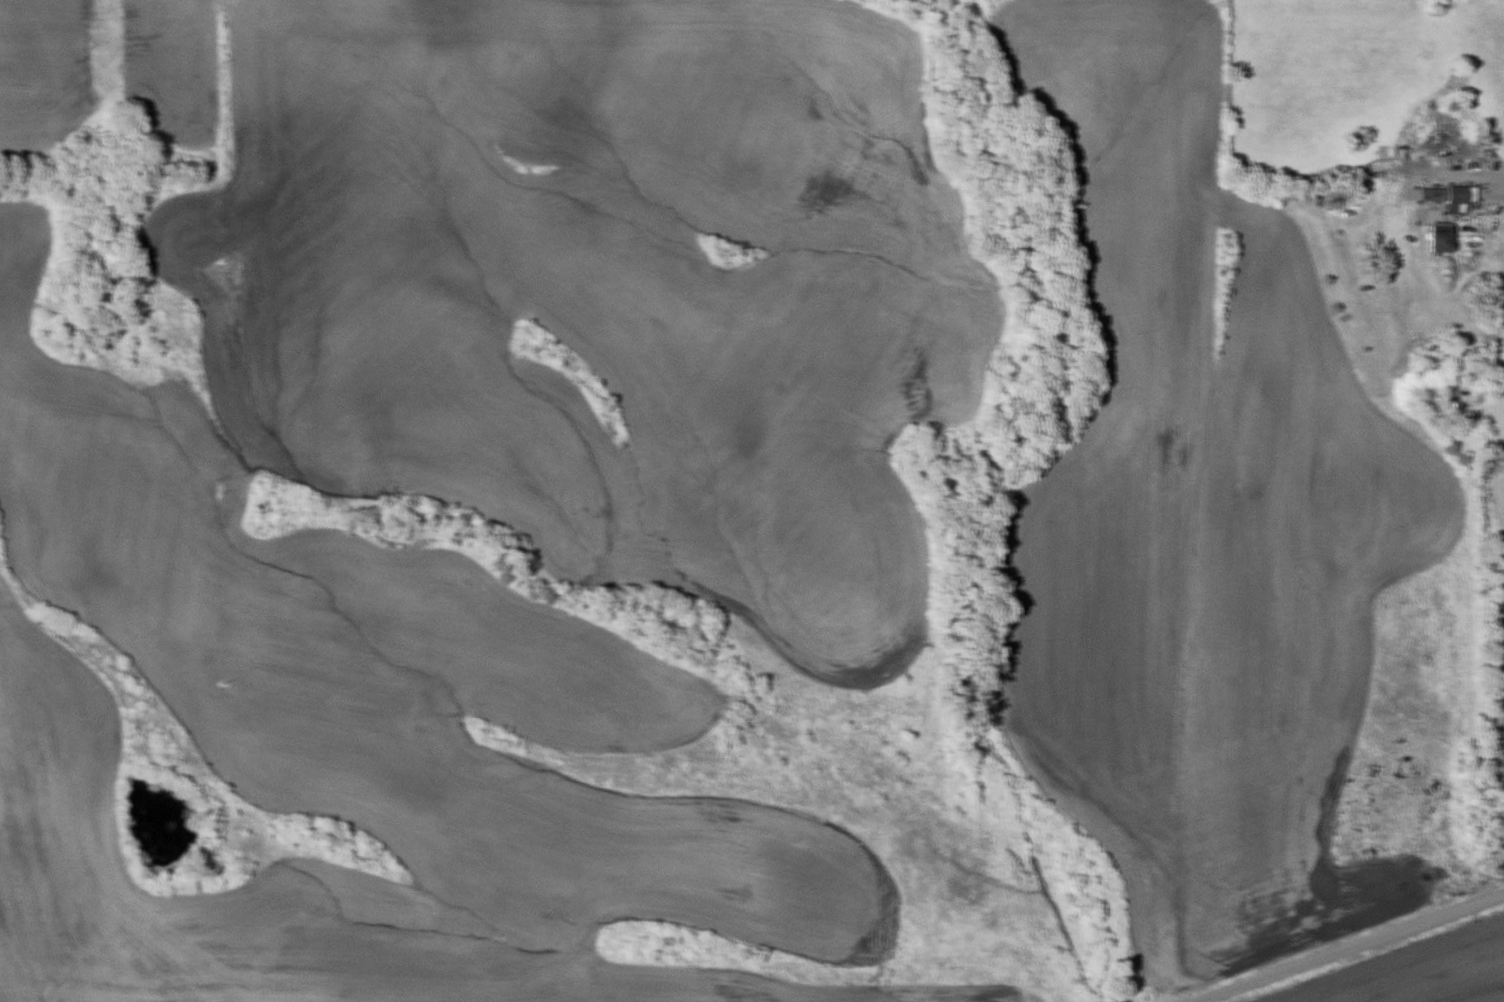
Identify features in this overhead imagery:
road: (1492, 194)
building: (1452, 205)
building: (1437, 240)
road: (1349, 947)

